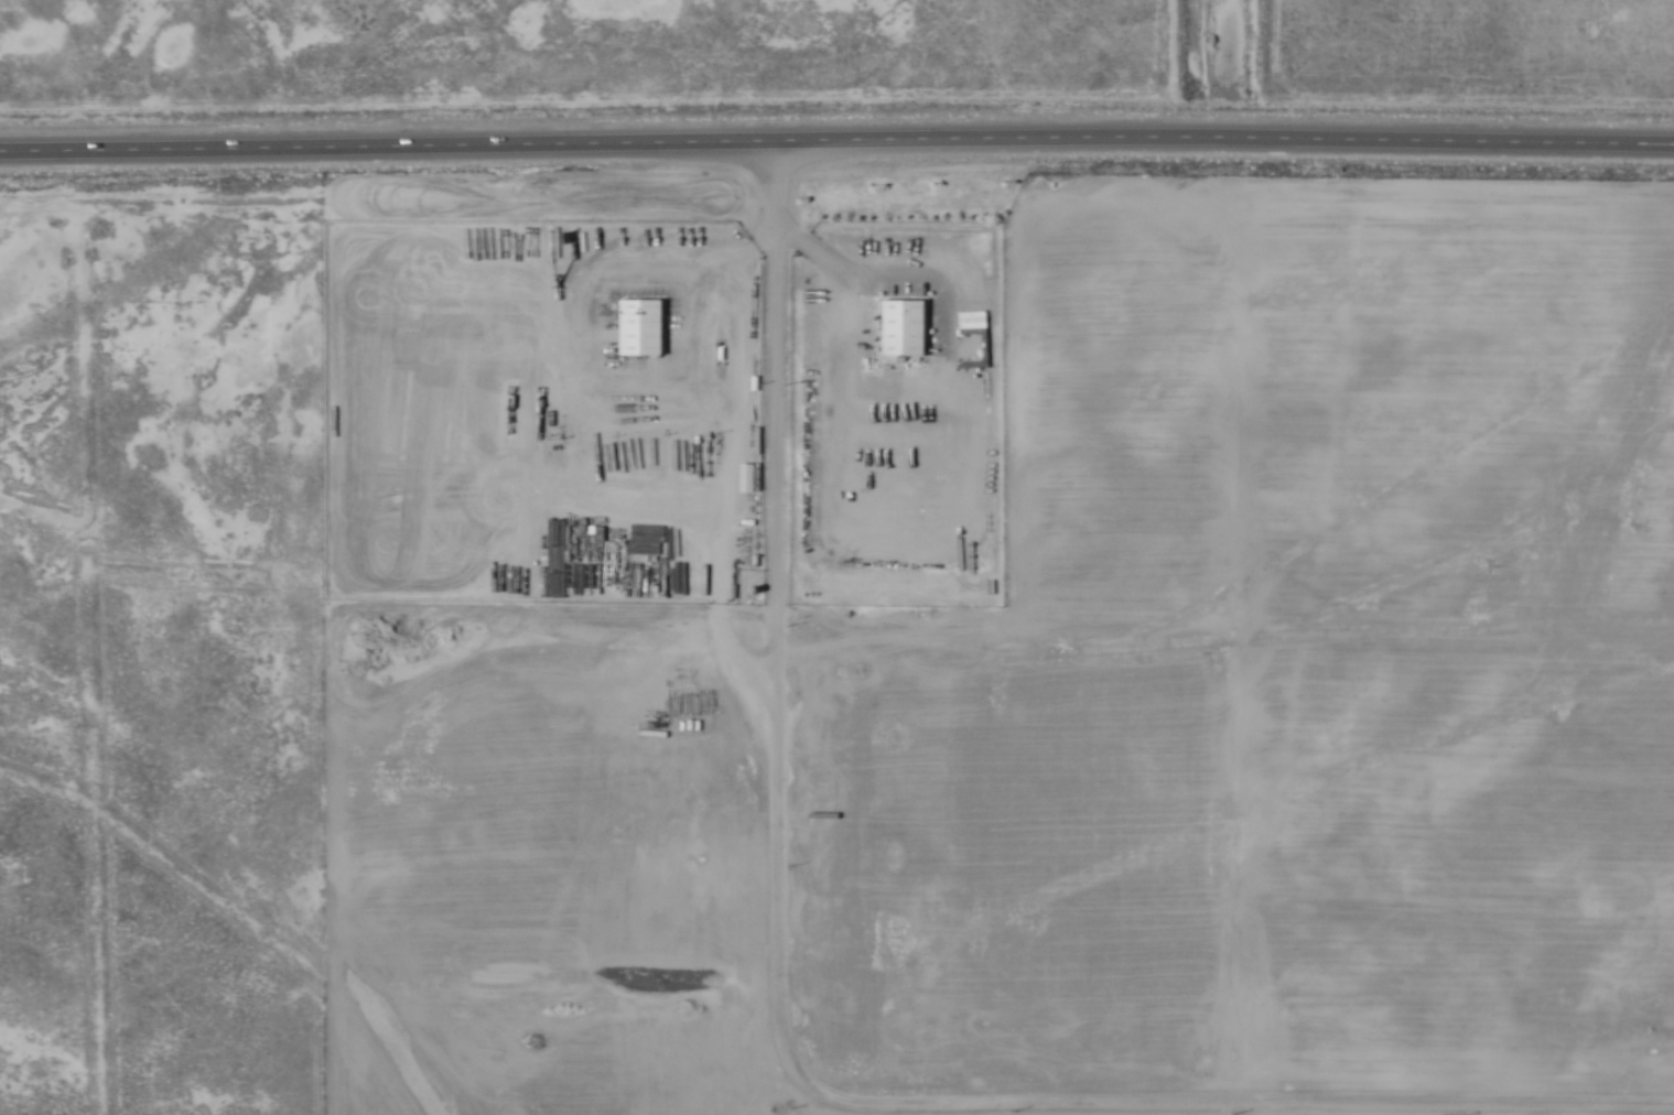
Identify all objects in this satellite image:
road: (836, 140)
road: (813, 251)
road: (750, 255)
road: (605, 273)
building: (639, 328)
building: (903, 328)
road: (969, 347)
road: (778, 377)
road: (698, 400)
road: (838, 464)
building: (690, 473)
airport runway: (404, 1048)
road: (997, 1104)

